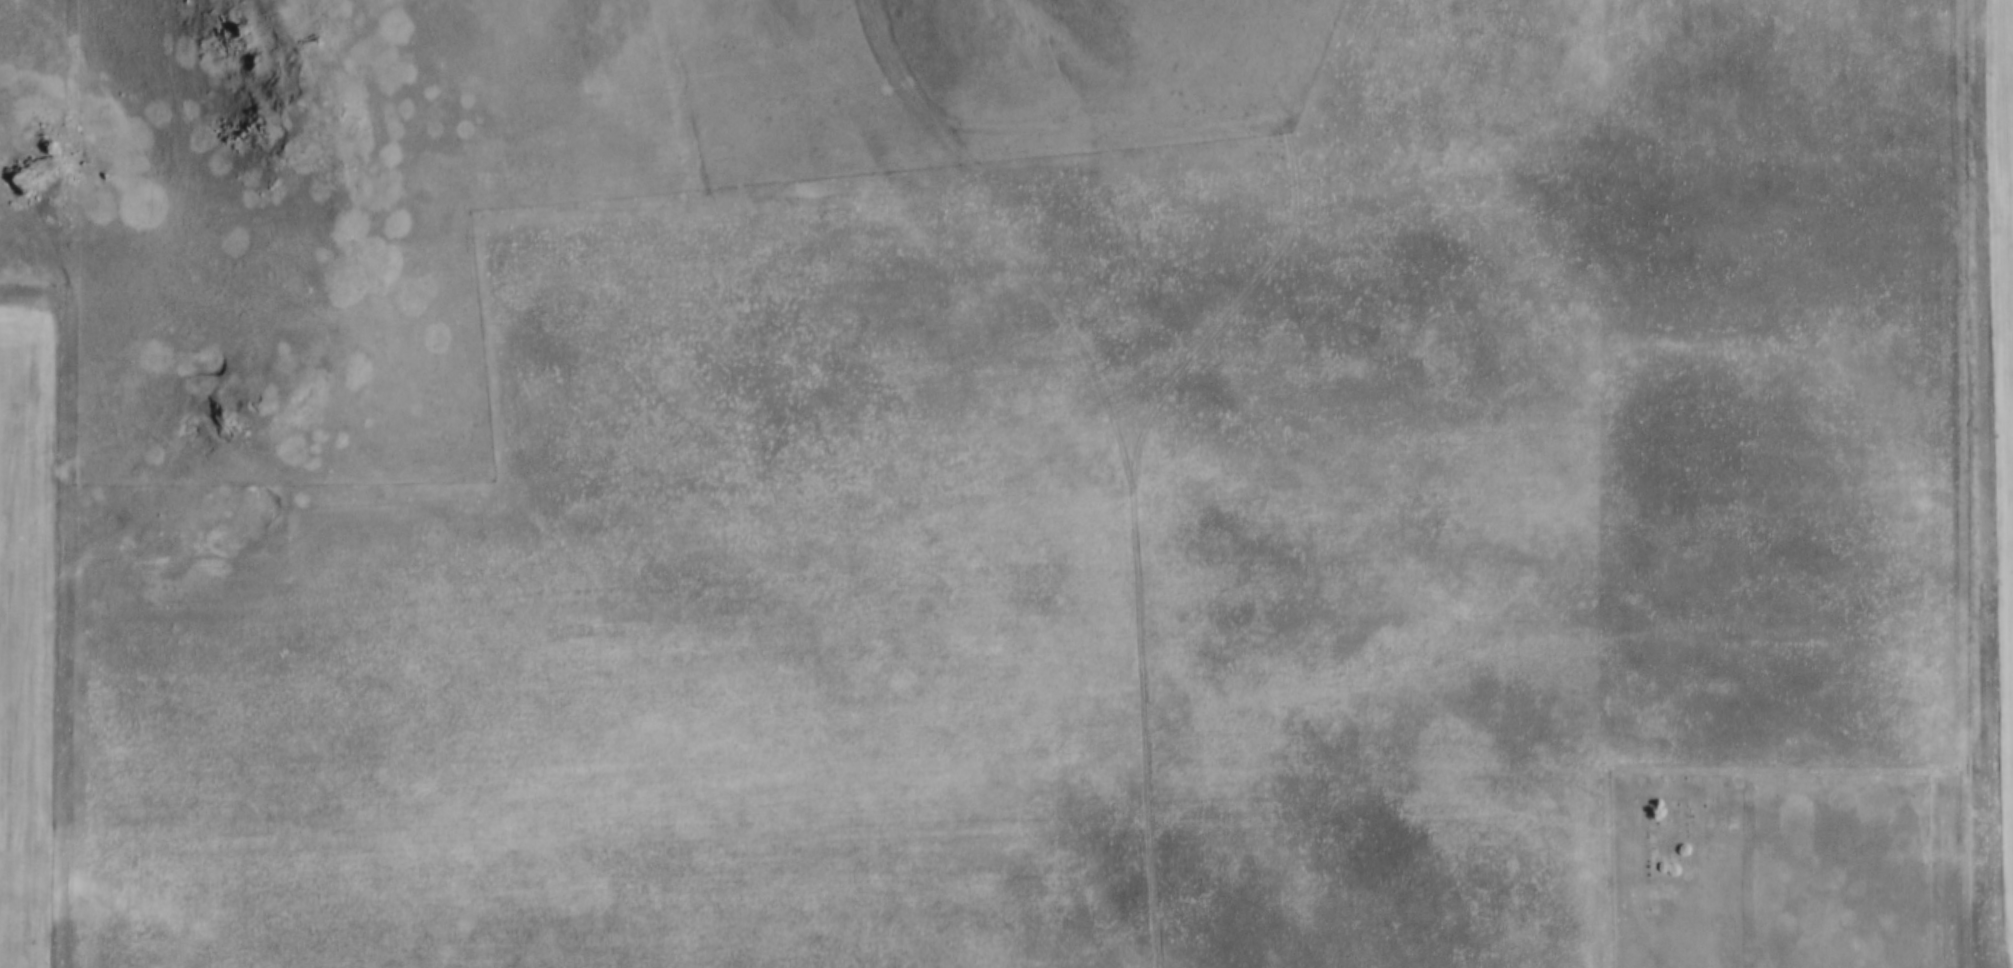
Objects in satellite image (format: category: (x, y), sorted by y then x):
road: (1124, 449)
road: (60, 594)
building: (940, 703)
building: (879, 732)
park: (1679, 866)
road: (1707, 893)

